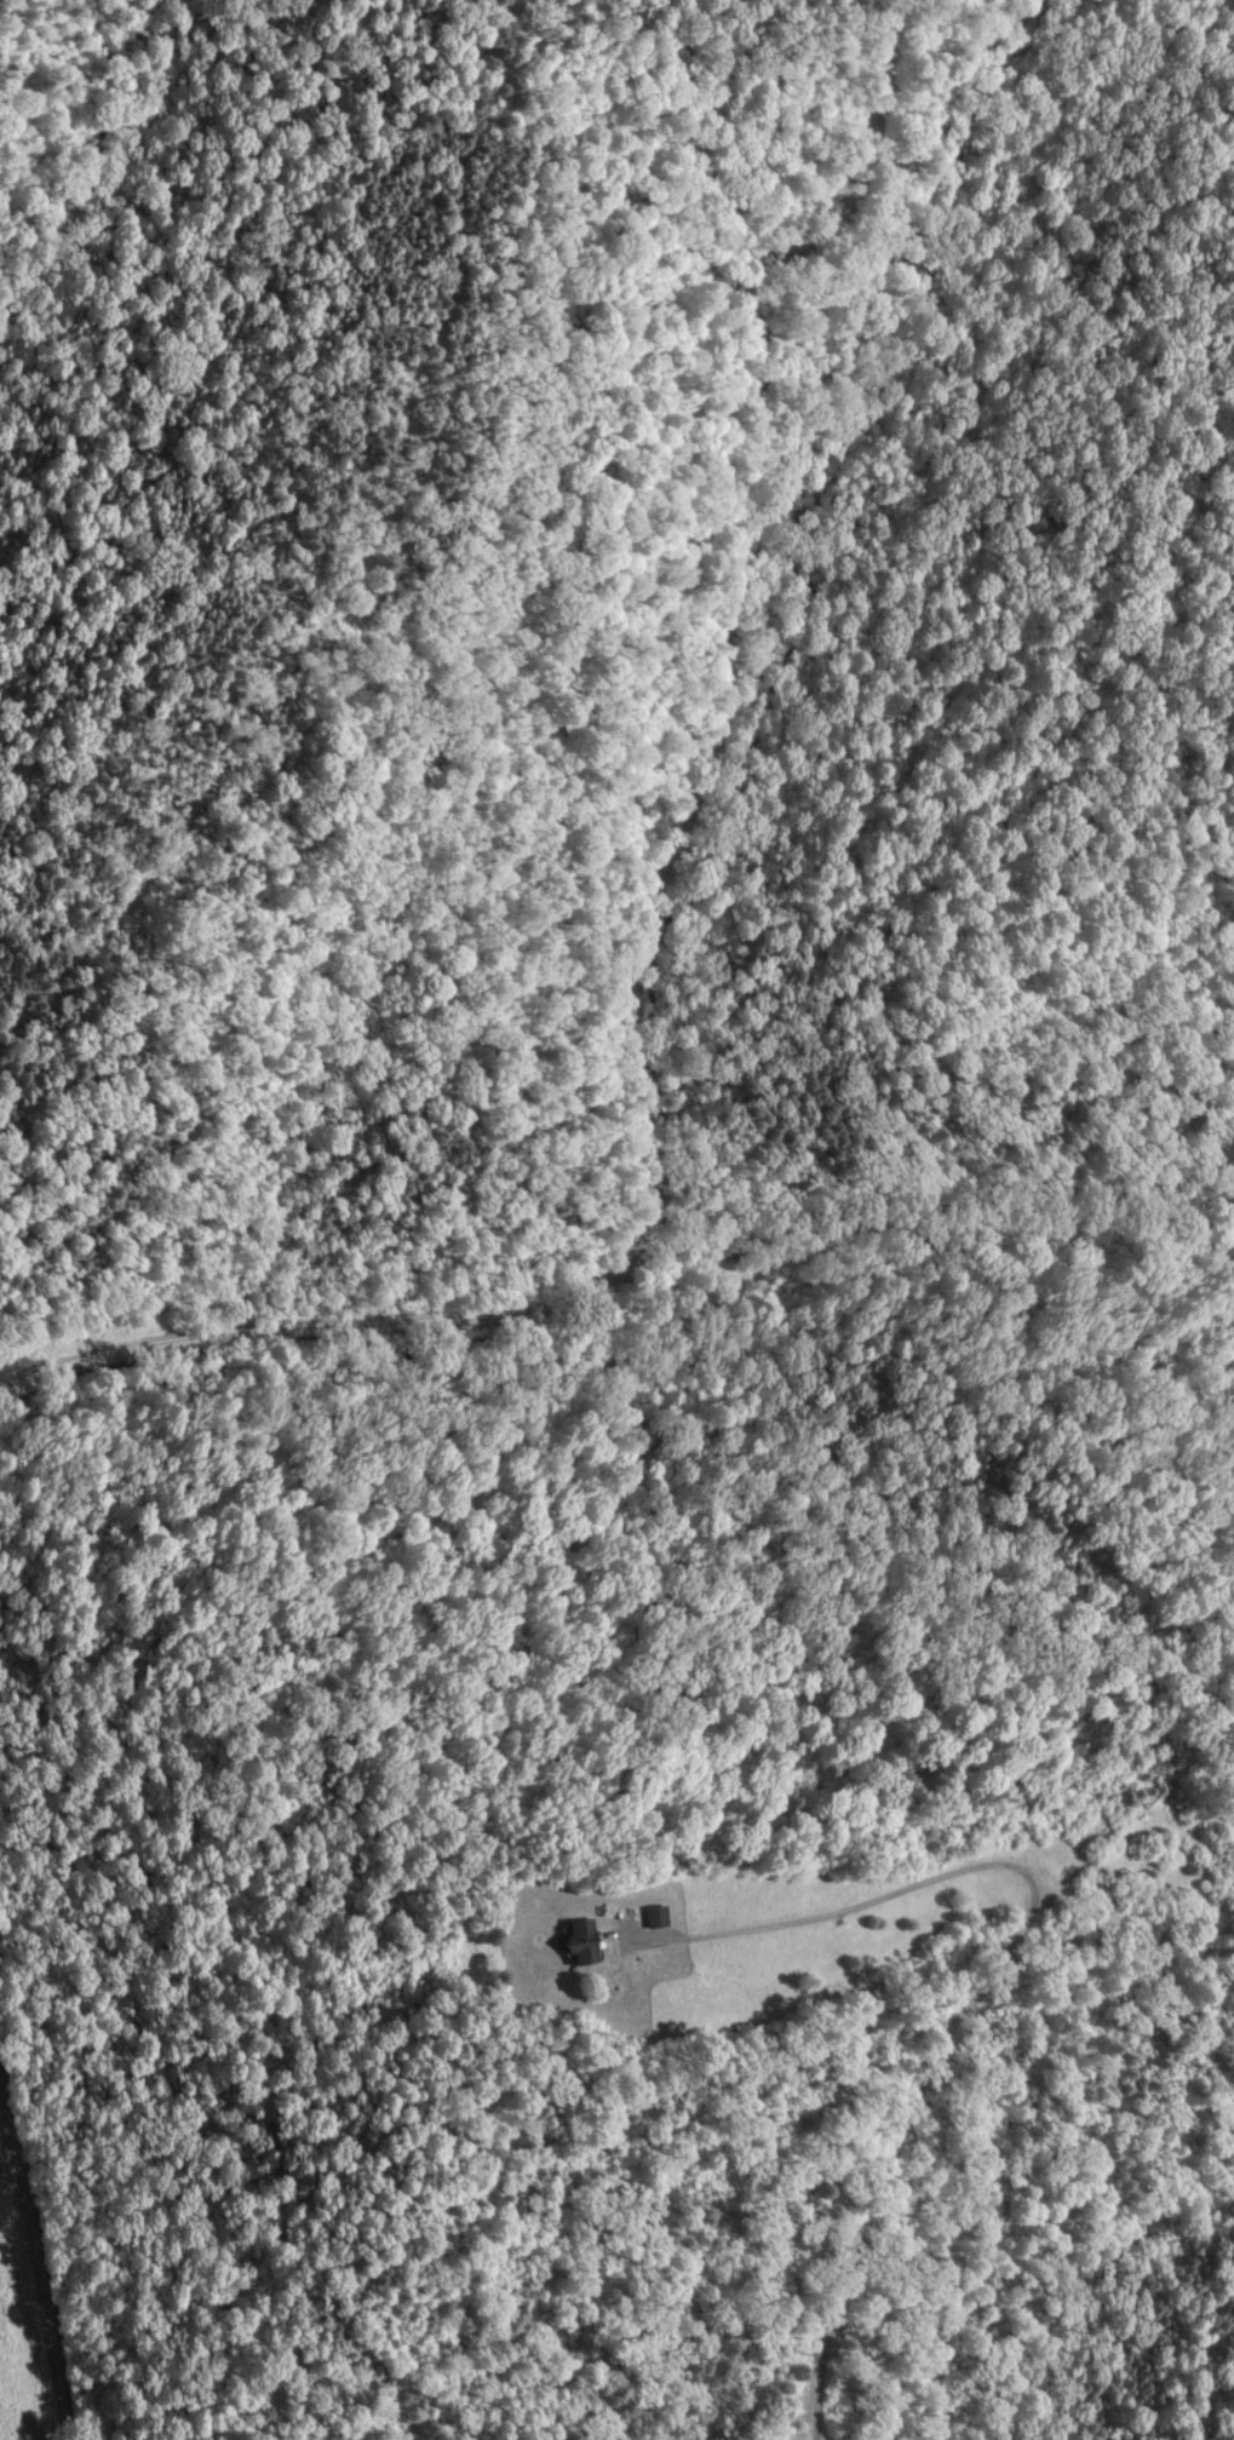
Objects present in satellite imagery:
road: (655, 940)
building: (649, 1918)
building: (574, 1944)
road: (1012, 1957)
road: (33, 2258)

